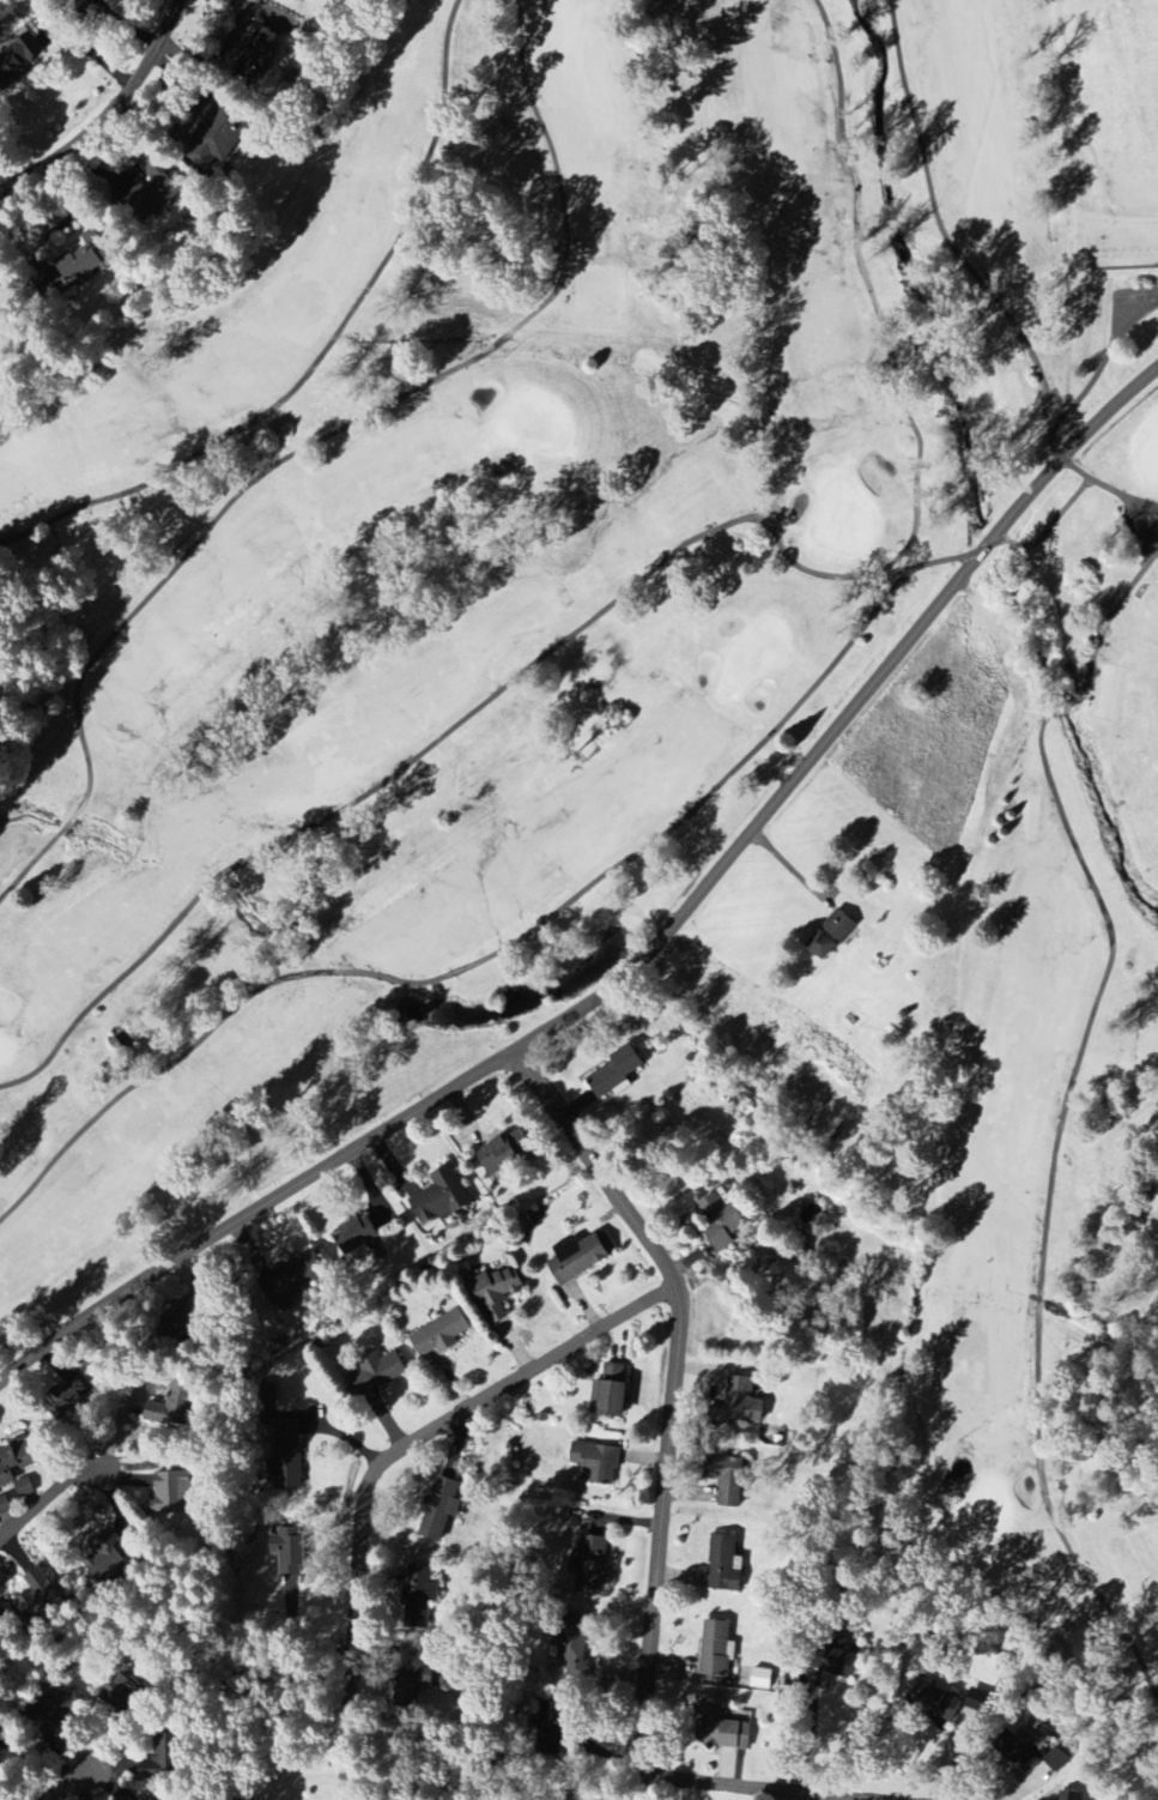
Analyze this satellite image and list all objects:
building: (260, 49)
building: (19, 58)
road: (109, 114)
building: (232, 132)
building: (154, 193)
road: (950, 241)
building: (85, 260)
street lamp: (1142, 278)
road: (872, 295)
road: (325, 351)
road: (1105, 361)
road: (313, 442)
road: (1107, 485)
road: (998, 543)
park: (620, 654)
road: (428, 748)
road: (787, 862)
building: (831, 935)
road: (643, 948)
road: (485, 960)
building: (616, 1073)
building: (507, 1153)
building: (438, 1197)
building: (721, 1221)
building: (357, 1234)
building: (578, 1258)
building: (295, 1279)
building: (497, 1291)
building: (441, 1334)
building: (377, 1372)
building: (611, 1393)
building: (68, 1400)
road: (667, 1400)
building: (742, 1401)
building: (176, 1407)
building: (286, 1454)
road: (387, 1458)
building: (598, 1463)
building: (14, 1474)
building: (729, 1482)
building: (174, 1492)
road: (54, 1494)
building: (441, 1509)
building: (289, 1550)
building: (592, 1558)
building: (105, 1559)
building: (724, 1565)
building: (38, 1596)
building: (419, 1597)
building: (1, 1631)
building: (716, 1650)
building: (841, 1657)
building: (575, 1659)
building: (417, 1672)
building: (123, 1696)
building: (934, 1698)
building: (976, 1699)
building: (715, 1725)
building: (1021, 1753)
building: (156, 1758)
road: (66, 1787)
road: (753, 1788)
building: (1071, 1796)

